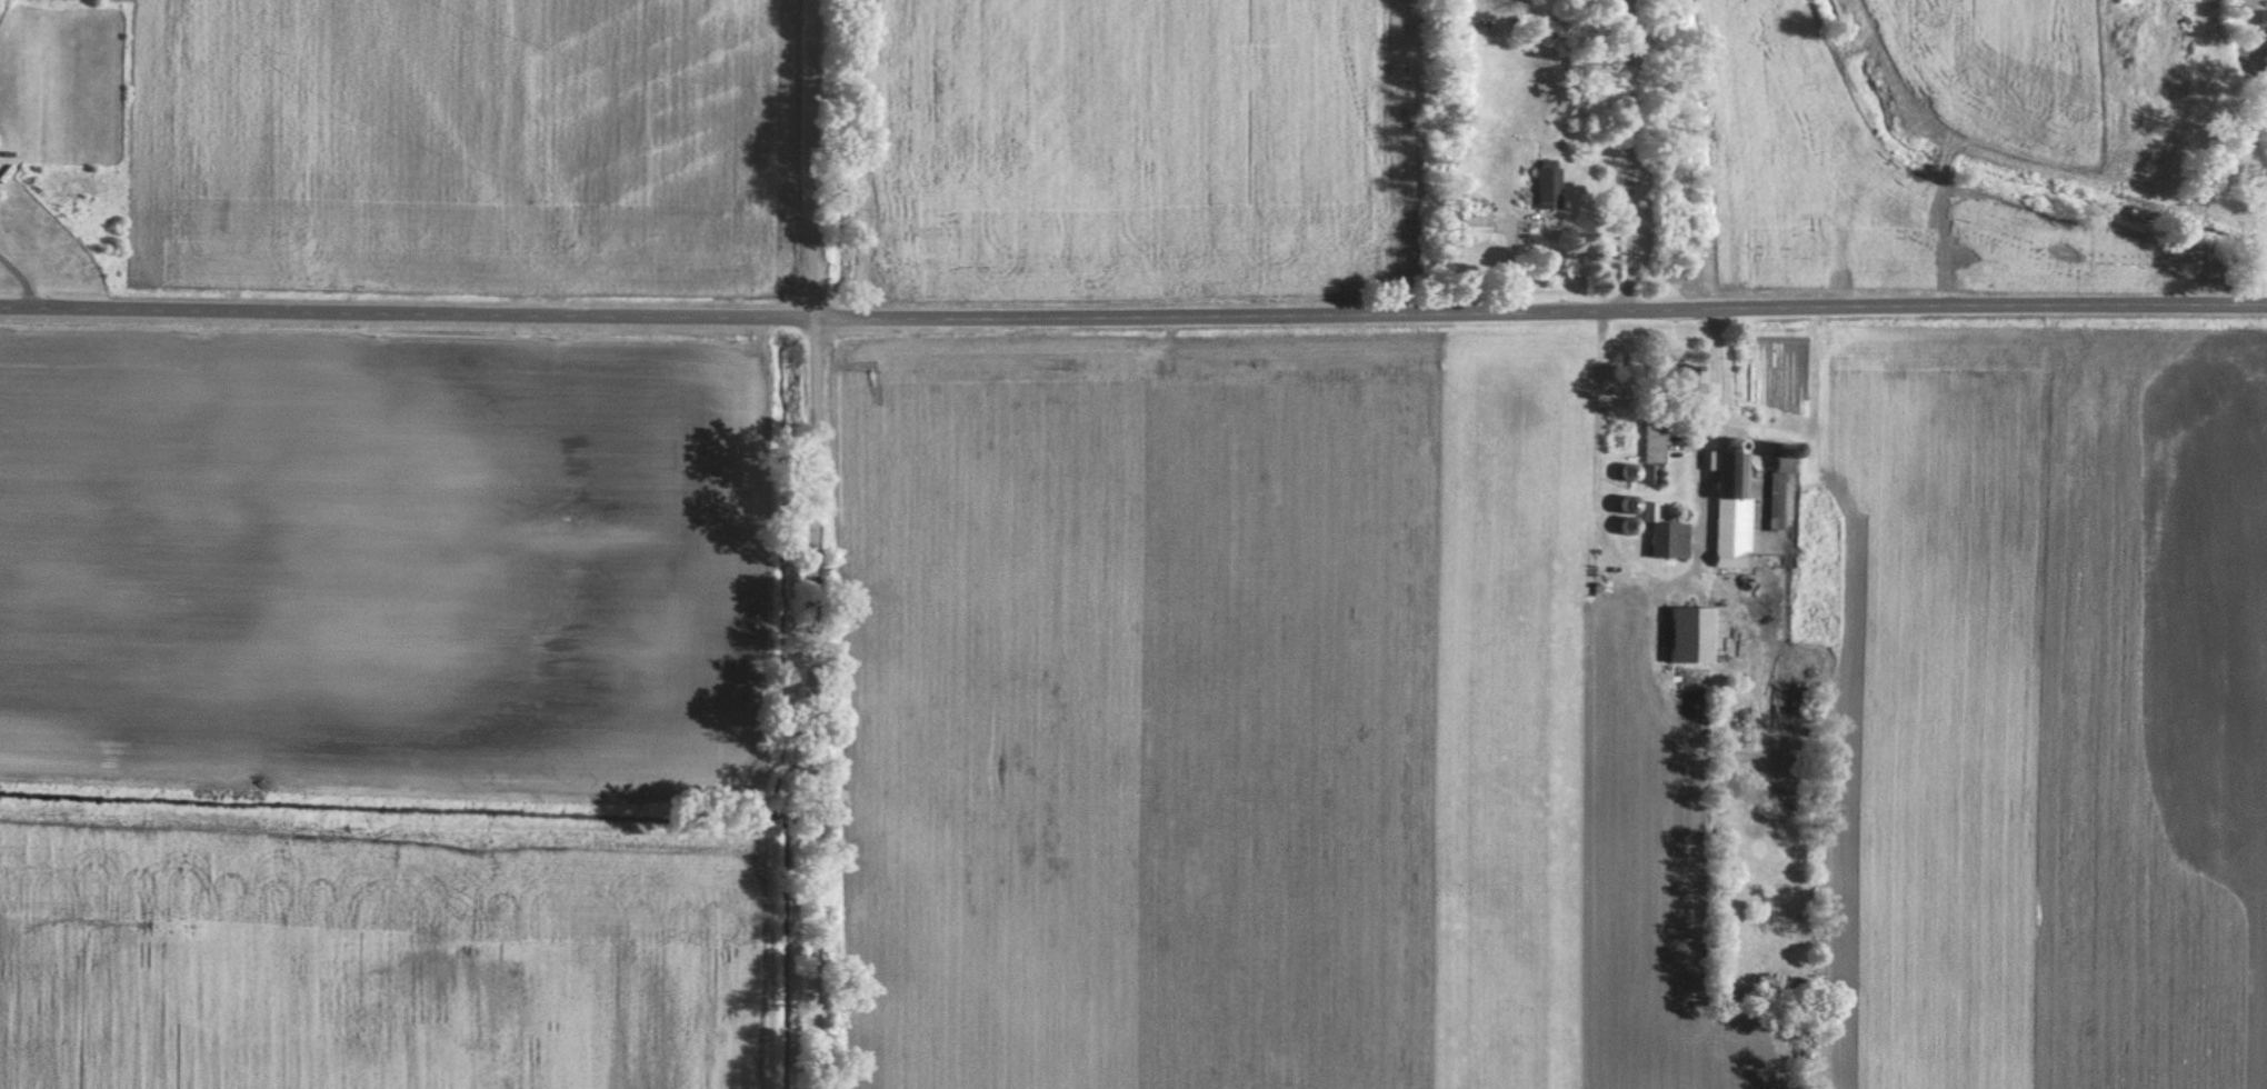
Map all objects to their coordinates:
road: (1619, 153)
building: (1549, 184)
building: (1476, 226)
road: (17, 282)
road: (1132, 316)
road: (1715, 369)
building: (1735, 507)
building: (1668, 536)
road: (823, 543)
building: (1697, 633)

